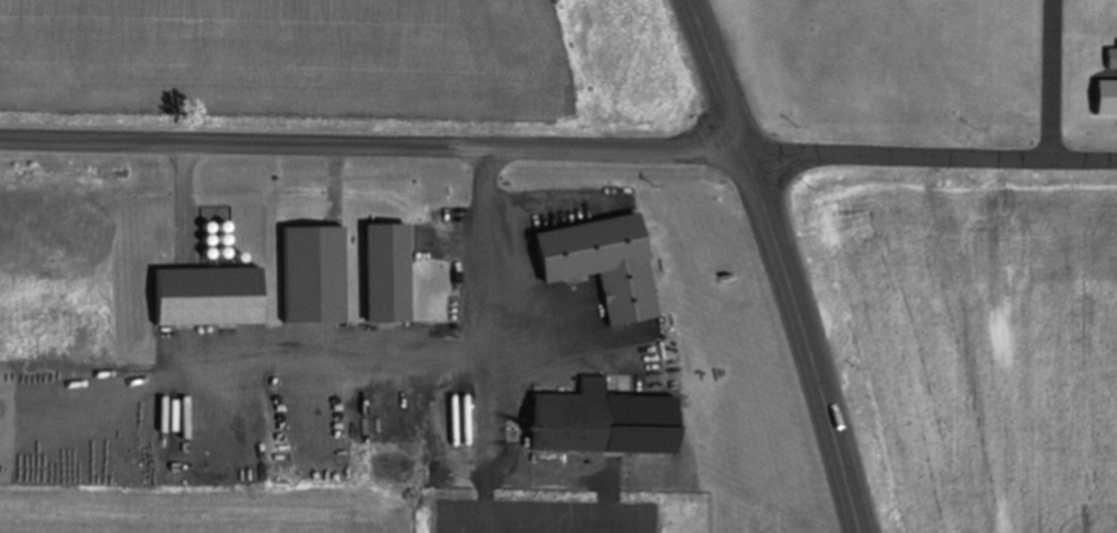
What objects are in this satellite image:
crop: (348, 65)
airport: (924, 67)
road: (716, 74)
road: (372, 140)
road: (931, 153)
road: (806, 340)

